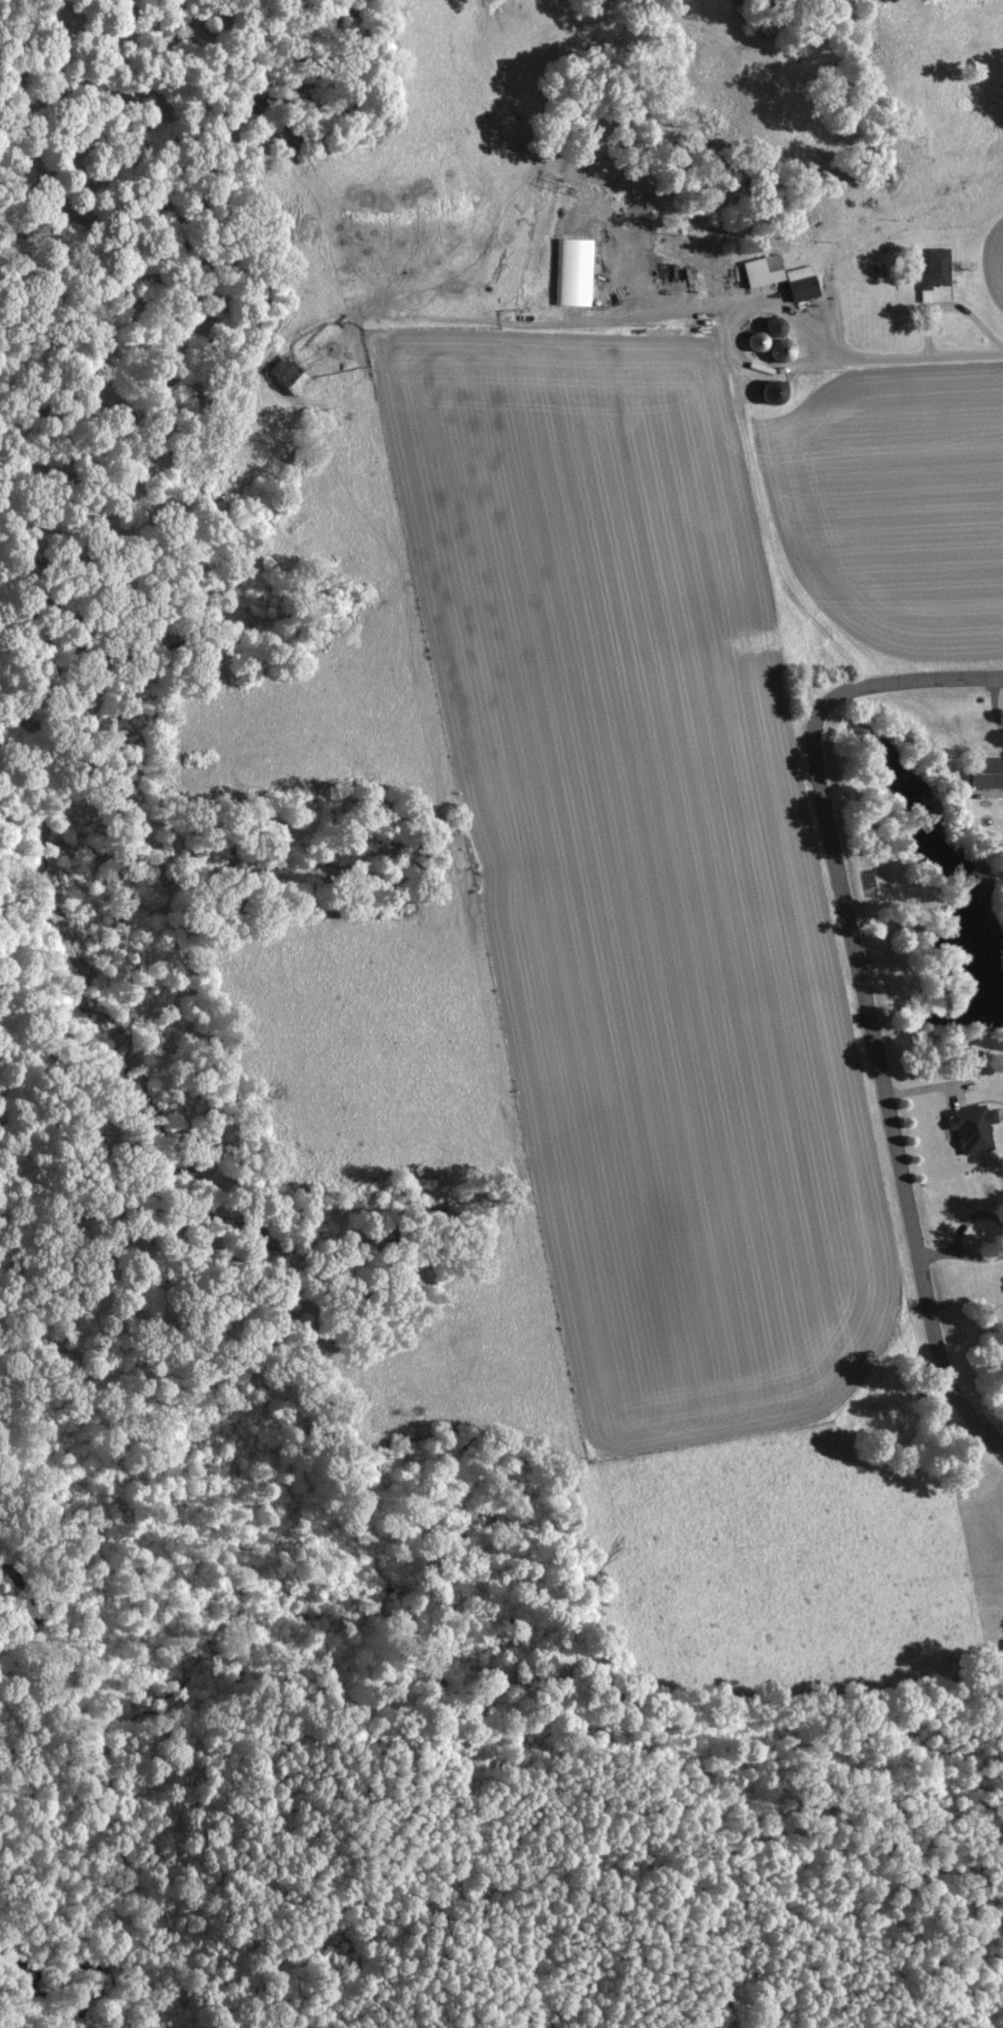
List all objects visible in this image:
building: (765, 269)
building: (576, 270)
building: (936, 270)
building: (803, 281)
road: (731, 319)
road: (919, 353)
building: (291, 373)
road: (995, 704)
building: (988, 772)
road: (865, 994)
building: (975, 1127)
road: (969, 1220)
road: (938, 1257)
road: (979, 1260)

